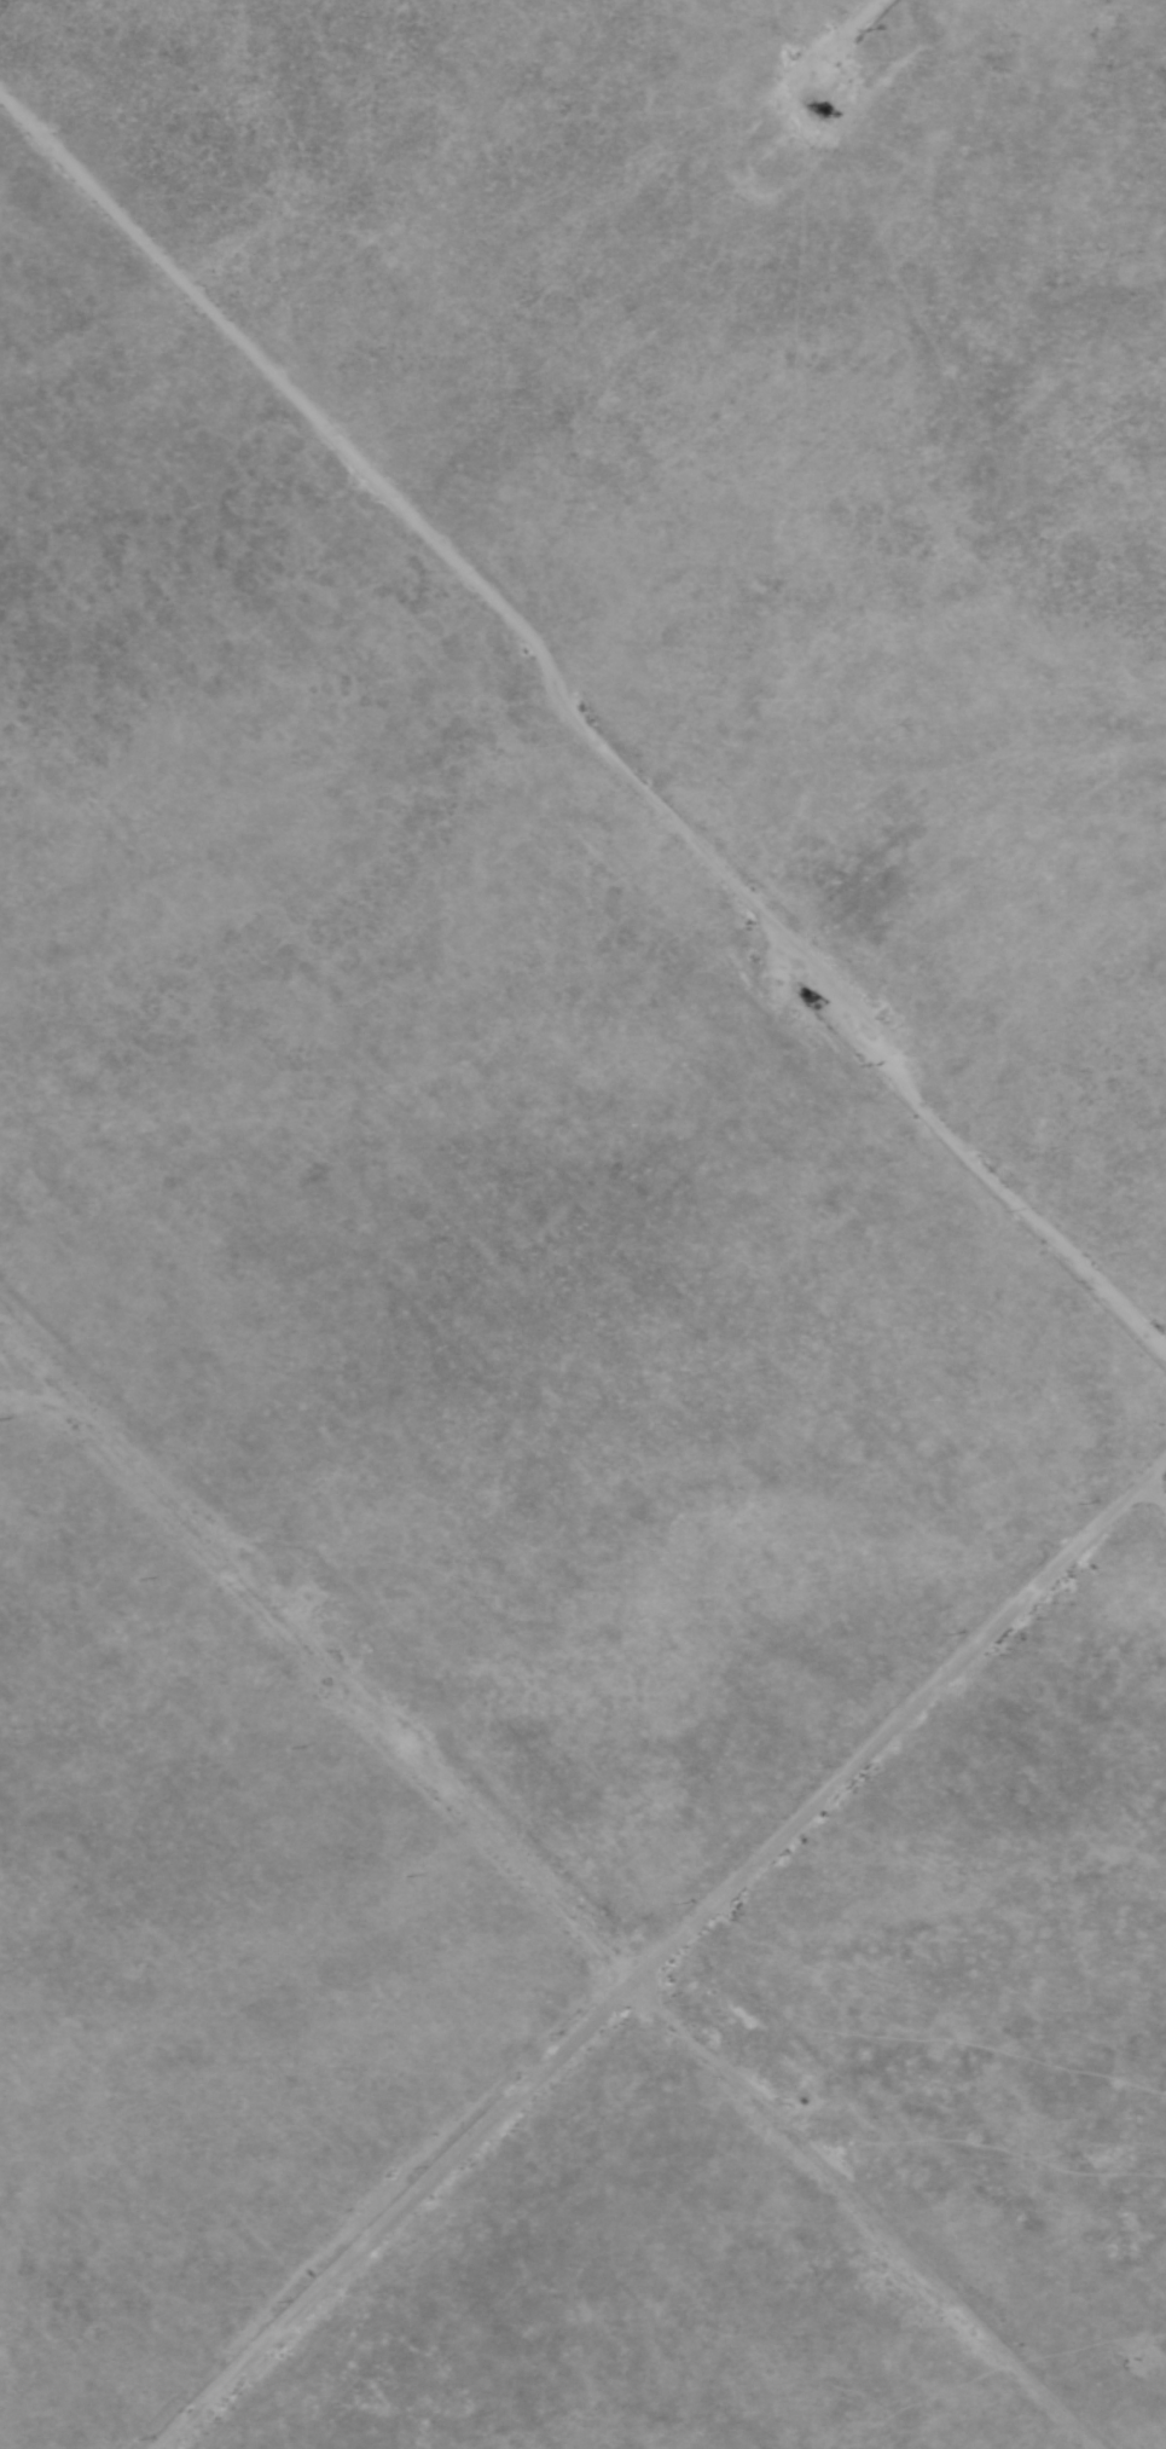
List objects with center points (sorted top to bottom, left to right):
road: (847, 12)
road: (417, 525)
road: (1149, 1494)
road: (545, 1893)
road: (657, 1946)

